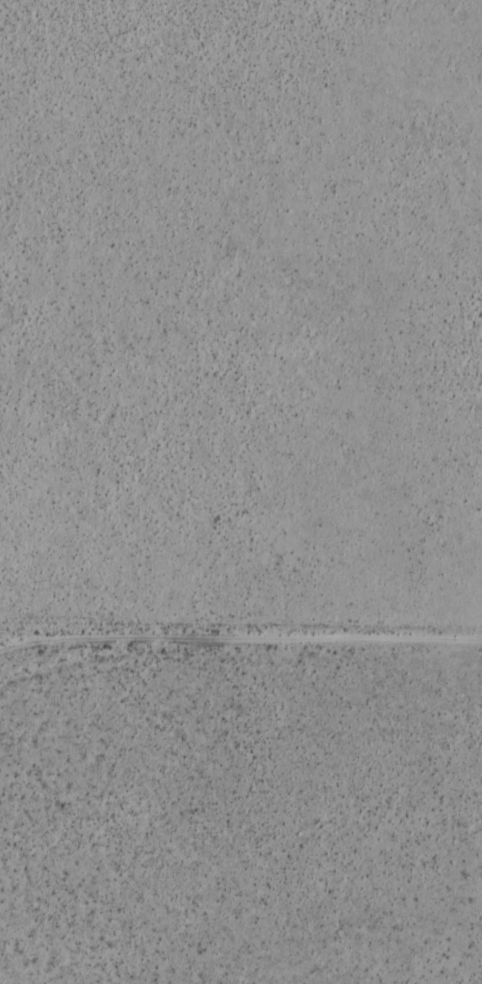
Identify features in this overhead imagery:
road: (241, 617)

